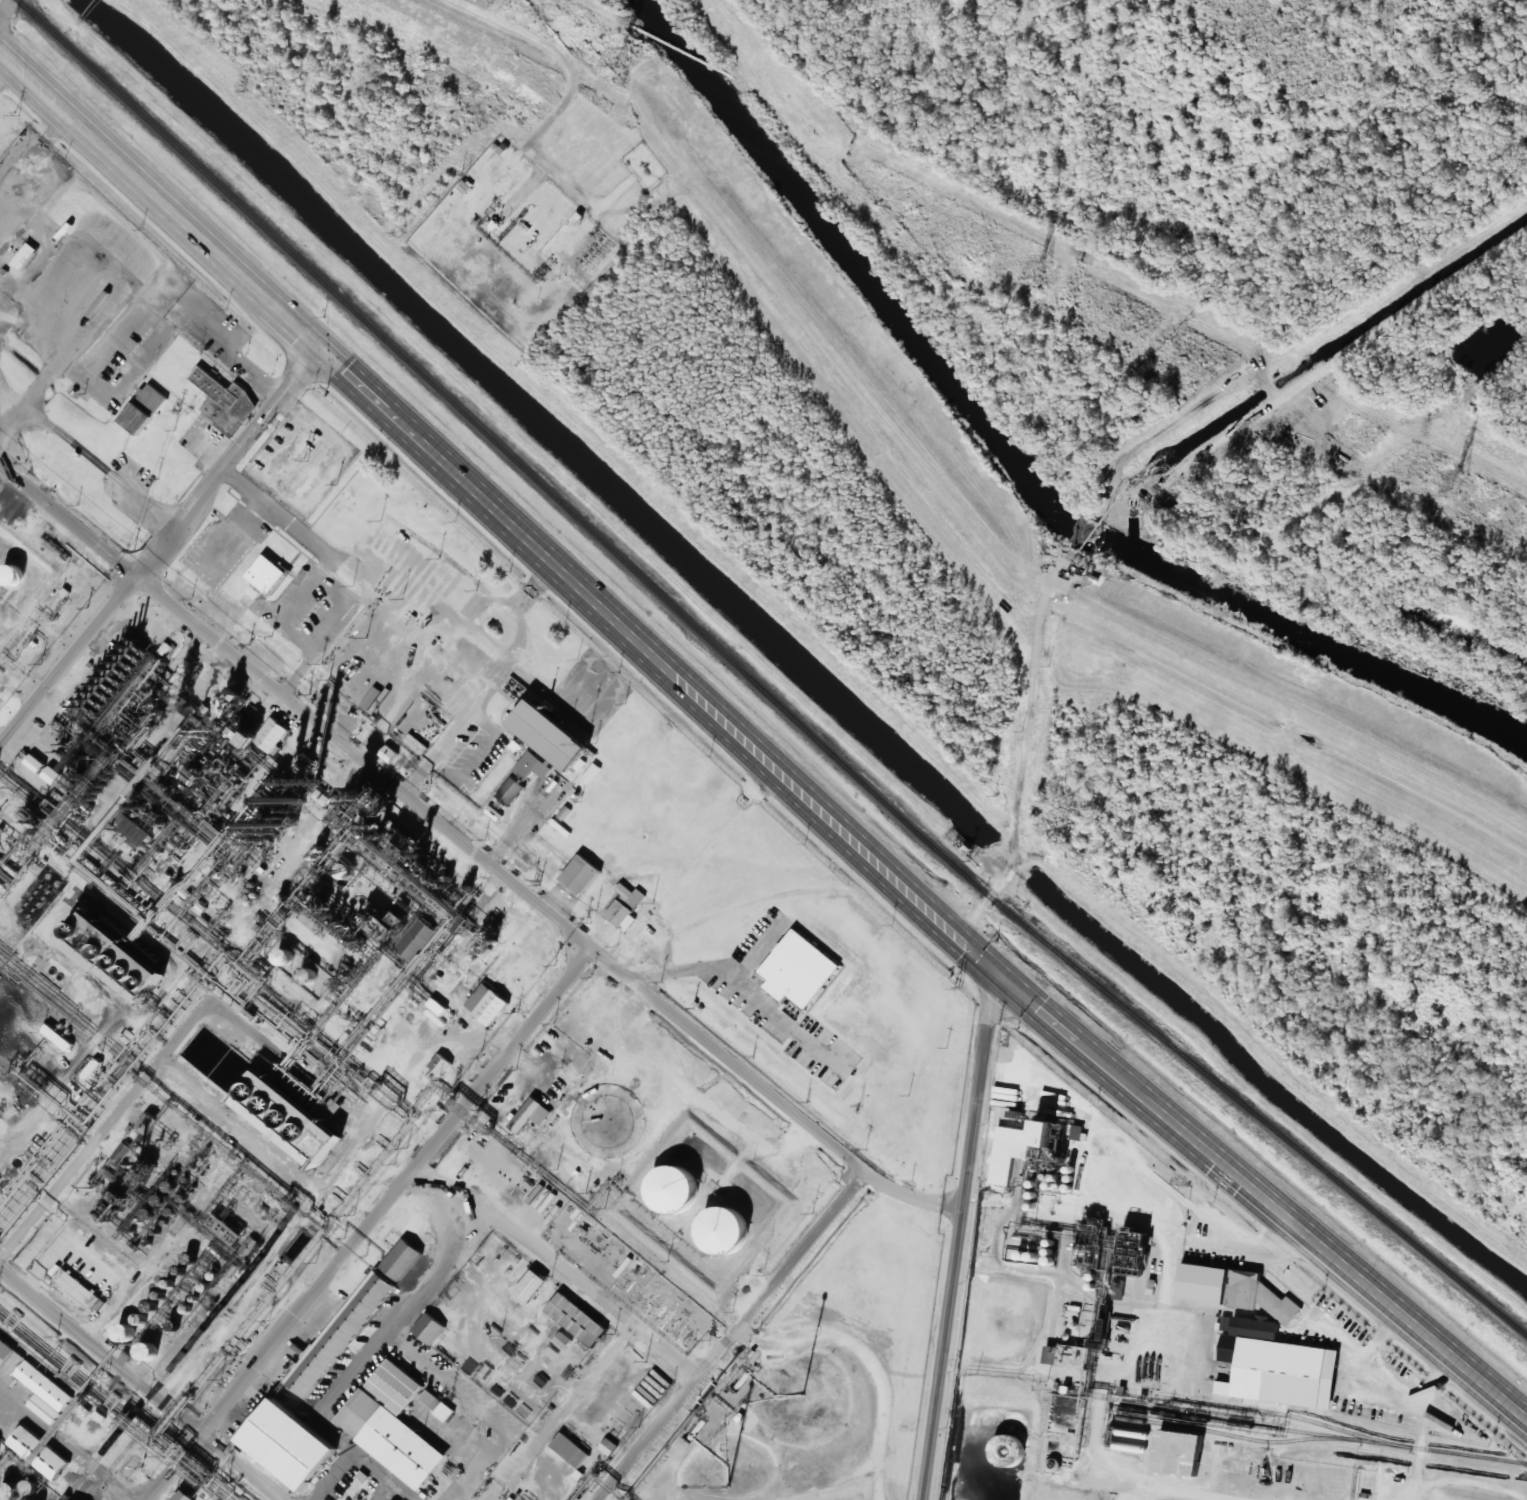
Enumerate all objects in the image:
road: (7, 11)
power tower: (625, 57)
road: (569, 88)
building: (21, 252)
power tower: (1041, 268)
road: (292, 383)
building: (225, 402)
building: (143, 408)
power tower: (1460, 483)
building: (265, 570)
building: (7, 573)
storage tank: (7, 573)
road: (131, 582)
building: (254, 591)
railway: (757, 684)
building: (270, 727)
building: (542, 737)
road: (752, 745)
building: (389, 753)
building: (35, 762)
building: (52, 774)
building: (288, 787)
building: (511, 791)
road: (474, 849)
building: (580, 874)
building: (630, 894)
building: (621, 915)
building: (416, 939)
building: (114, 956)
building: (283, 957)
building: (793, 967)
building: (308, 972)
traffic signals: (1007, 982)
building: (487, 1003)
building: (437, 1006)
building: (58, 1037)
building: (440, 1064)
road: (150, 1073)
building: (531, 1114)
building: (281, 1123)
building: (1076, 1132)
building: (1043, 1133)
building: (122, 1152)
building: (1008, 1152)
building: (1017, 1168)
building: (667, 1191)
storage tank: (667, 1191)
building: (1015, 1196)
building: (159, 1200)
road: (372, 1222)
building: (226, 1229)
building: (715, 1235)
storage tank: (715, 1235)
road: (960, 1239)
building: (249, 1246)
building: (398, 1257)
road: (561, 1266)
building: (76, 1284)
building: (531, 1286)
building: (1233, 1290)
building: (1118, 1293)
building: (577, 1319)
building: (426, 1324)
building: (173, 1325)
building: (337, 1331)
building: (119, 1333)
storage tank: (119, 1333)
road: (733, 1335)
building: (562, 1340)
railway: (193, 1341)
building: (4, 1348)
building: (141, 1351)
storage tank: (141, 1351)
railway: (203, 1351)
building: (1066, 1355)
building: (1281, 1372)
building: (41, 1381)
building: (393, 1381)
road: (143, 1382)
building: (437, 1404)
railway: (1282, 1414)
railway: (1226, 1433)
railway: (1319, 1434)
building: (282, 1443)
building: (569, 1443)
building: (399, 1445)
building: (608, 1445)
building: (38, 1447)
building: (999, 1452)
storage tank: (999, 1452)
building: (1172, 1454)
building: (33, 1486)
building: (6, 1491)
storage tank: (6, 1491)
building: (187, 1496)

